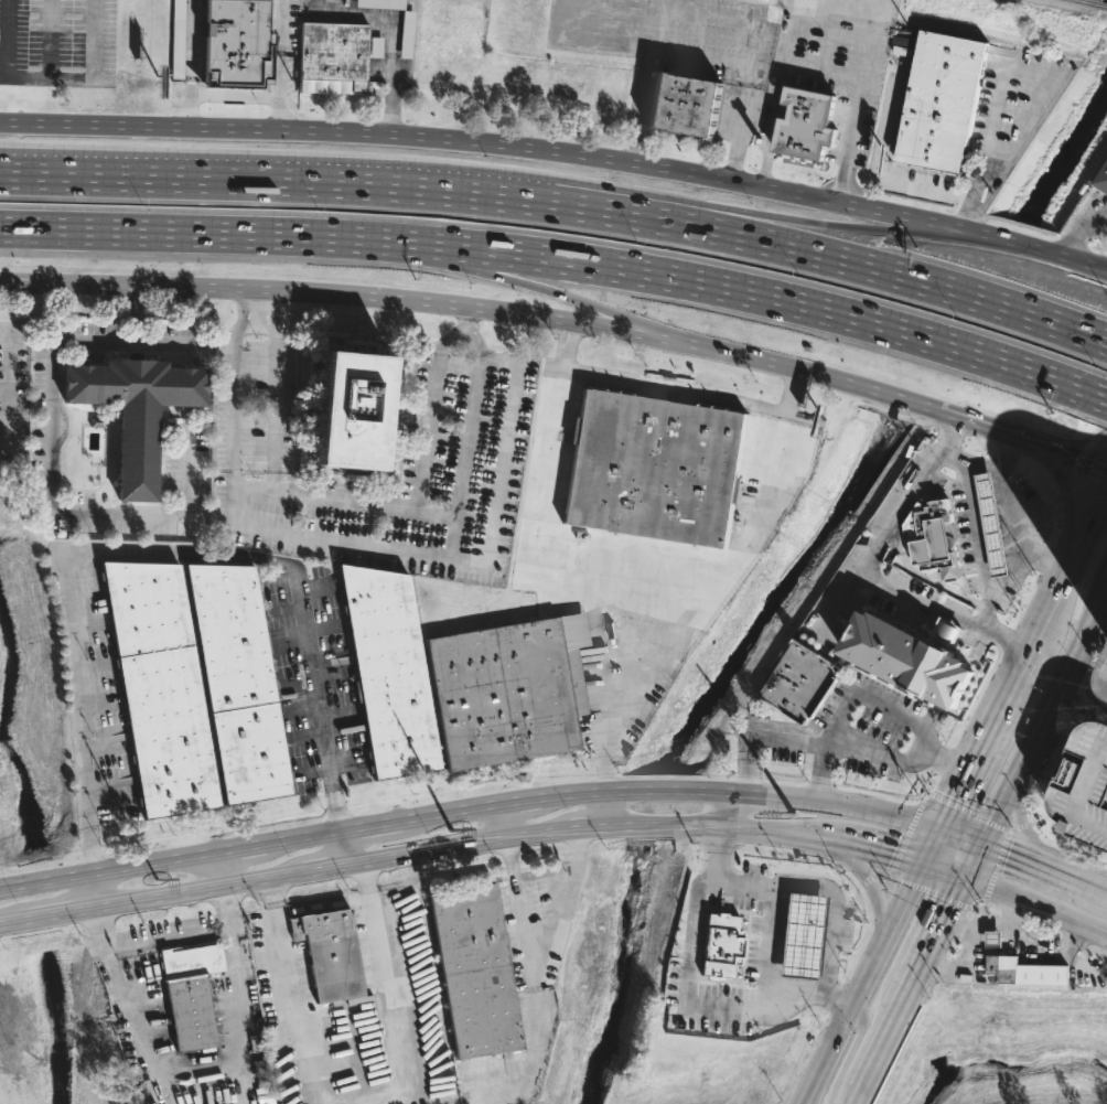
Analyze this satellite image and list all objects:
railway: (1090, 2)
building: (381, 4)
railway: (1104, 4)
road: (686, 13)
road: (396, 32)
road: (829, 34)
building: (408, 35)
road: (51, 39)
building: (180, 39)
building: (238, 40)
road: (638, 43)
building: (335, 58)
road: (646, 63)
road: (191, 64)
road: (1004, 64)
road: (281, 65)
road: (824, 69)
road: (52, 78)
road: (778, 93)
road: (236, 97)
road: (857, 100)
building: (942, 100)
building: (687, 103)
road: (741, 122)
building: (806, 124)
road: (559, 153)
road: (874, 176)
building: (1101, 180)
road: (230, 181)
road: (700, 204)
road: (1078, 228)
road: (169, 234)
road: (1071, 239)
road: (1096, 247)
road: (787, 250)
road: (1098, 266)
road: (529, 282)
road: (717, 288)
road: (258, 299)
road: (466, 314)
road: (563, 318)
road: (452, 339)
road: (472, 340)
road: (166, 342)
road: (567, 344)
road: (1106, 344)
road: (9, 379)
road: (235, 386)
road: (272, 387)
road: (667, 387)
road: (1097, 396)
road: (735, 399)
building: (137, 409)
building: (356, 409)
road: (553, 424)
road: (1085, 448)
road: (1105, 451)
road: (49, 454)
road: (1009, 454)
road: (466, 455)
road: (252, 462)
traffic signals: (1092, 464)
building: (655, 468)
road: (1087, 483)
road: (252, 484)
road: (1092, 496)
road: (1070, 501)
road: (1009, 503)
road: (411, 510)
building: (990, 523)
gas station: (990, 523)
road: (456, 536)
building: (935, 540)
road: (977, 546)
road: (151, 553)
road: (452, 555)
road: (868, 568)
road: (1064, 572)
road: (1006, 579)
road: (635, 581)
road: (711, 582)
road: (1097, 614)
building: (911, 657)
building: (390, 672)
road: (1088, 675)
road: (1105, 676)
building: (806, 683)
building: (239, 684)
building: (510, 687)
building: (161, 688)
road: (841, 711)
road: (1043, 716)
road: (980, 740)
road: (877, 754)
road: (821, 771)
building: (1086, 784)
parking garage: (1086, 784)
traffic signals: (953, 797)
road: (502, 804)
road: (602, 806)
road: (735, 806)
power tower: (794, 815)
road: (505, 821)
power tower: (453, 829)
road: (959, 834)
road: (520, 835)
road: (1029, 840)
road: (929, 842)
road: (351, 847)
traffic signals: (894, 850)
traffic signals: (1007, 851)
road: (974, 858)
road: (1044, 866)
road: (222, 869)
road: (859, 870)
power tower: (158, 879)
road: (43, 880)
road: (737, 880)
road: (9, 886)
road: (94, 890)
building: (785, 890)
road: (324, 903)
road: (1035, 904)
road: (227, 905)
traffic signals: (948, 907)
road: (832, 912)
road: (50, 917)
road: (11, 922)
building: (738, 924)
road: (100, 926)
road: (541, 931)
building: (764, 933)
road: (166, 935)
building: (995, 939)
gas station: (995, 939)
road: (767, 942)
road: (925, 951)
building: (330, 955)
building: (1000, 966)
building: (476, 972)
road: (859, 979)
building: (191, 993)
road: (687, 993)
road: (238, 1015)
road: (133, 1025)
road: (348, 1037)
road: (855, 1049)
road: (874, 1058)
road: (856, 1095)

